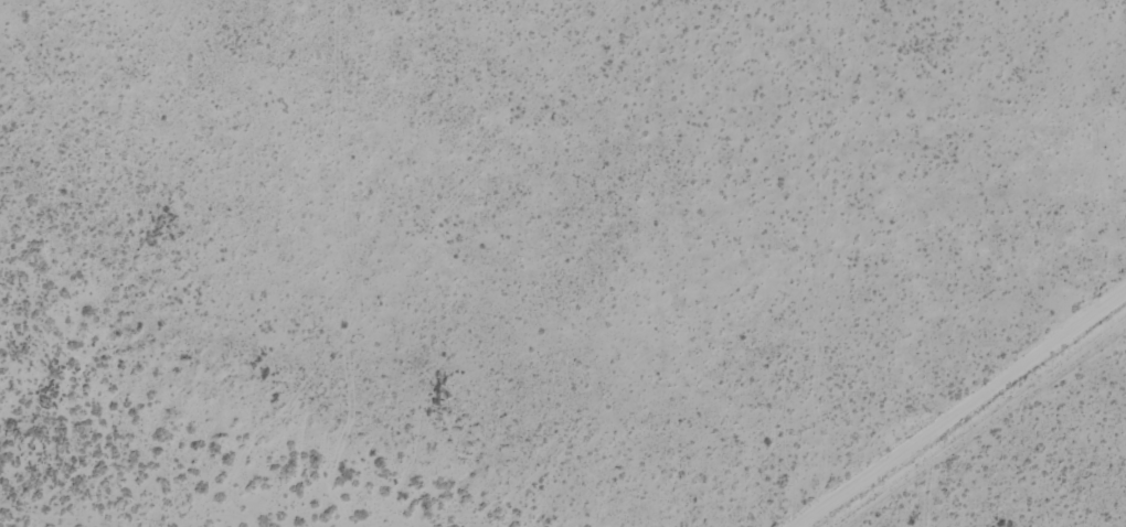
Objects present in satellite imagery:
power tower: (902, 362)
road: (936, 391)

